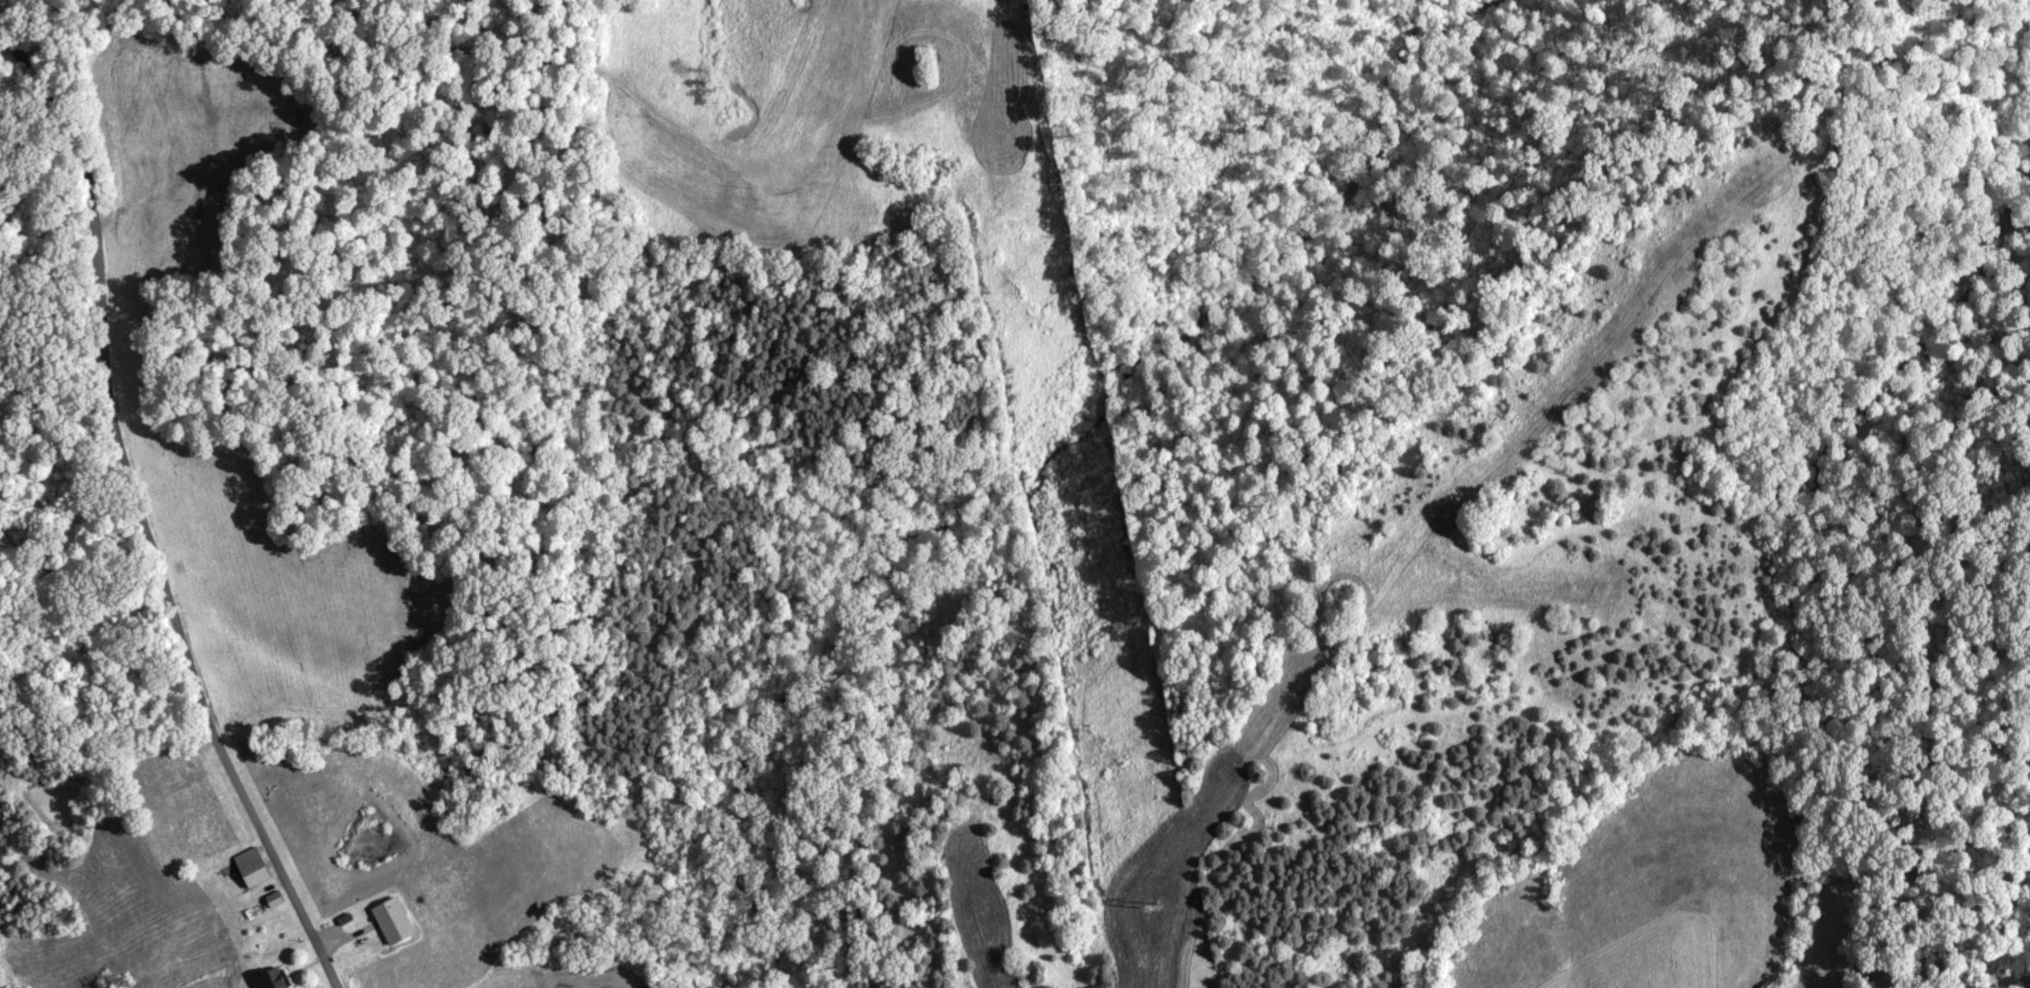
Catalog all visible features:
road: (149, 509)
building: (253, 872)
power tower: (1147, 905)
building: (392, 926)
building: (268, 981)

